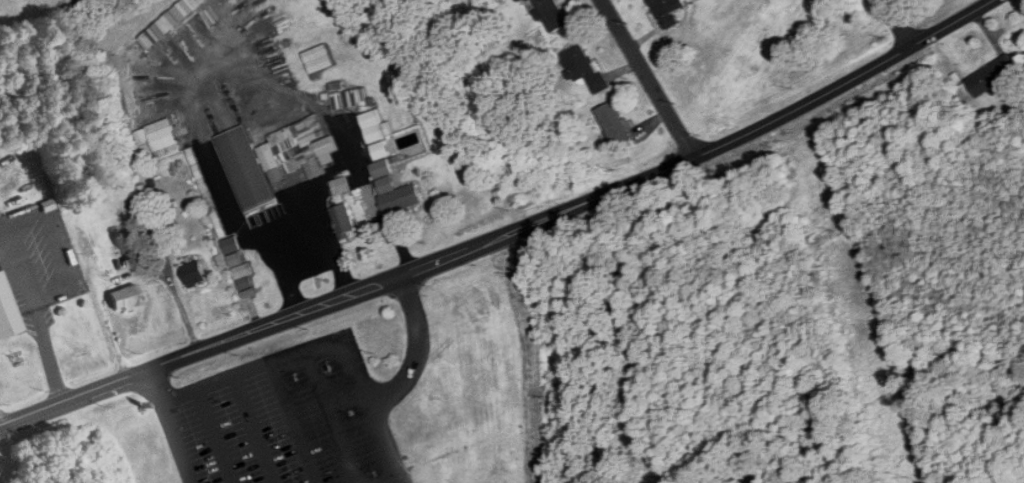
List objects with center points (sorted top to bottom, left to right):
building: (522, 1)
building: (196, 4)
building: (669, 12)
building: (552, 14)
road: (950, 23)
road: (899, 24)
building: (322, 64)
road: (221, 67)
building: (585, 68)
building: (992, 76)
road: (649, 78)
road: (804, 104)
building: (615, 123)
building: (161, 138)
building: (299, 149)
building: (388, 168)
building: (247, 169)
building: (341, 186)
road: (570, 206)
building: (344, 221)
road: (324, 251)
road: (127, 274)
building: (195, 274)
building: (125, 297)
building: (7, 311)
road: (332, 337)
road: (222, 339)
road: (416, 344)
road: (47, 348)
road: (156, 384)
road: (332, 415)
road: (294, 422)
road: (256, 428)
road: (219, 435)
road: (178, 442)
road: (400, 479)

